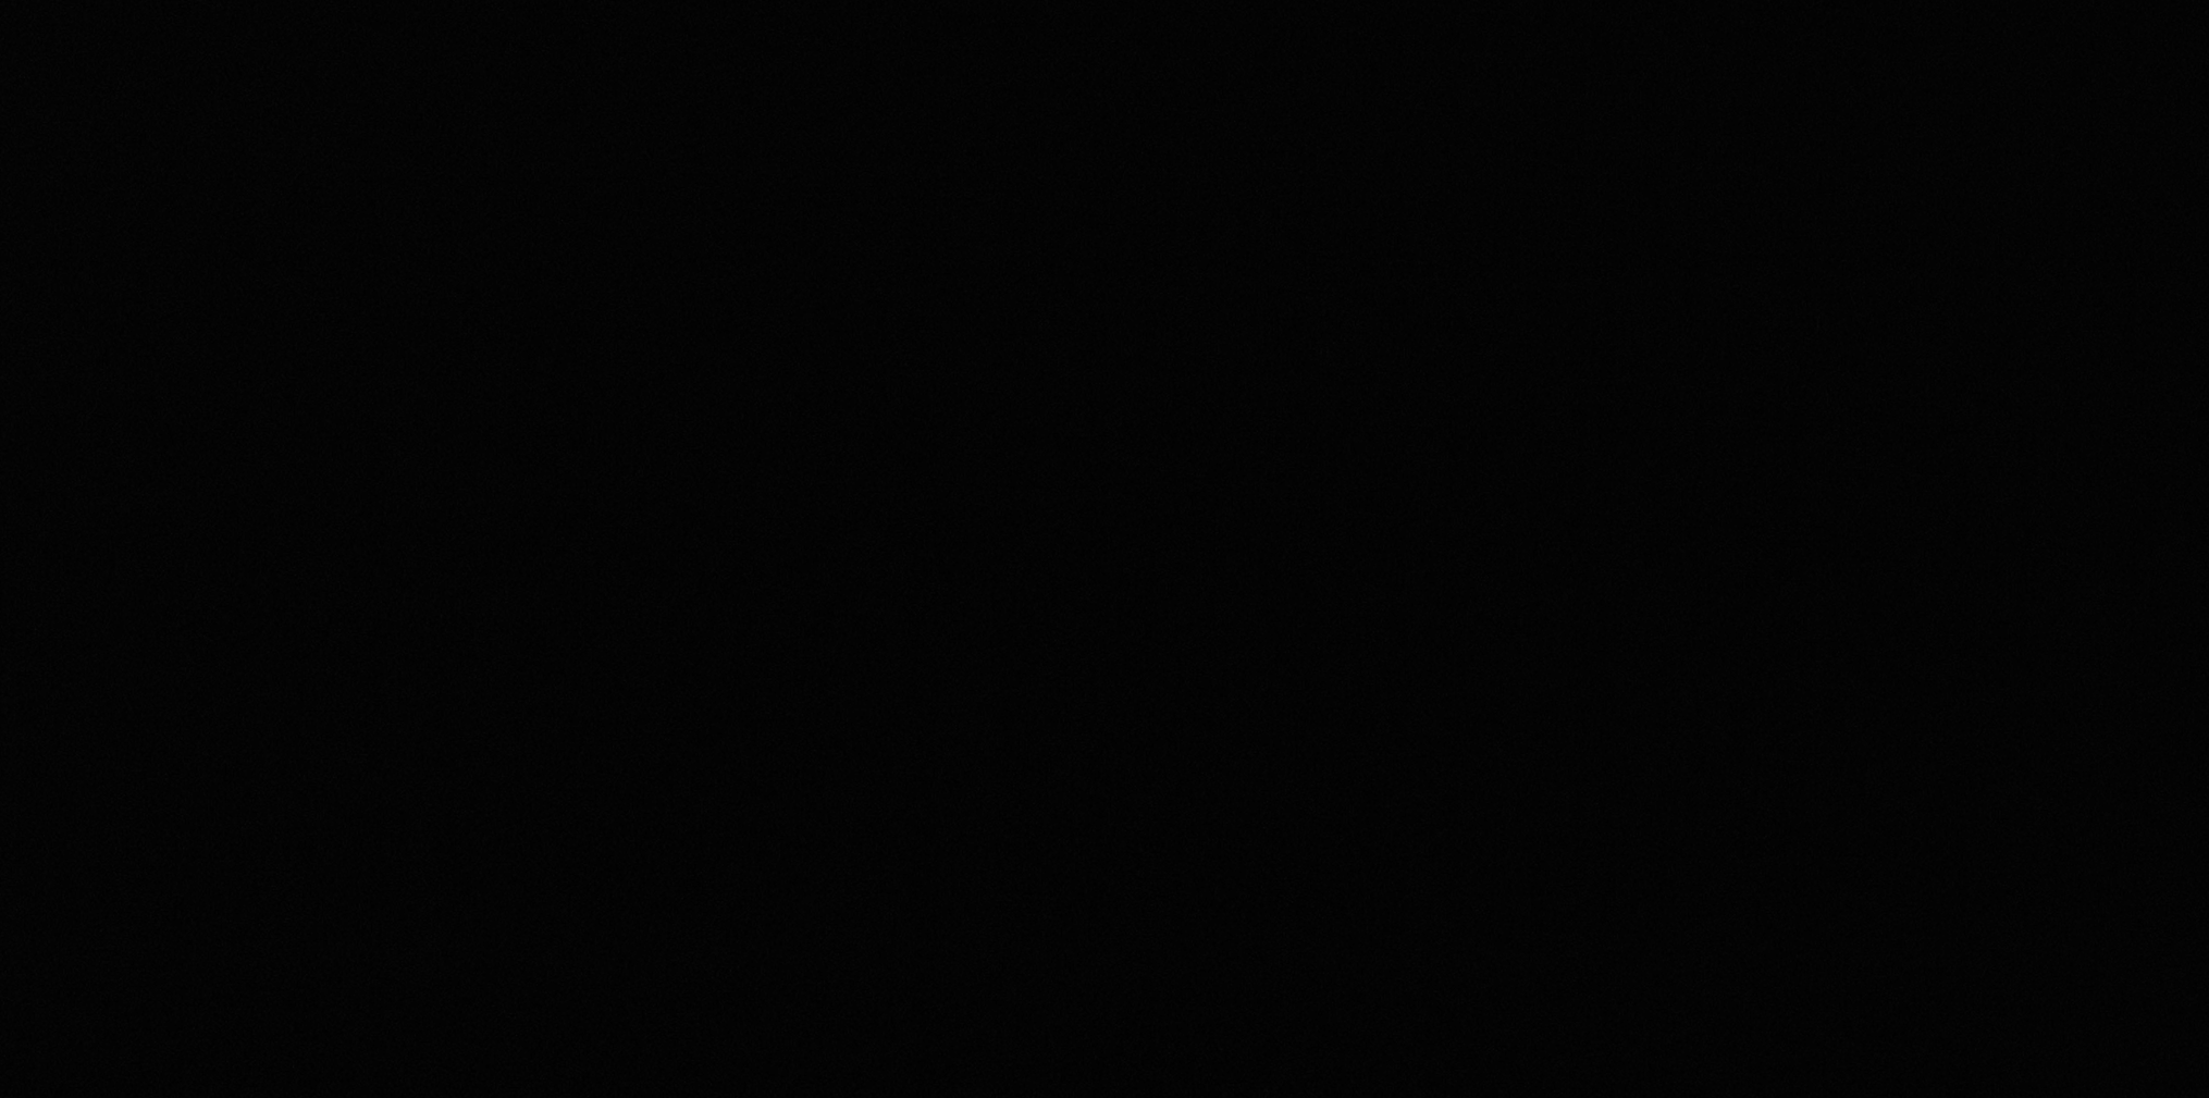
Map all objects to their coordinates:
river: (1395, 541)

